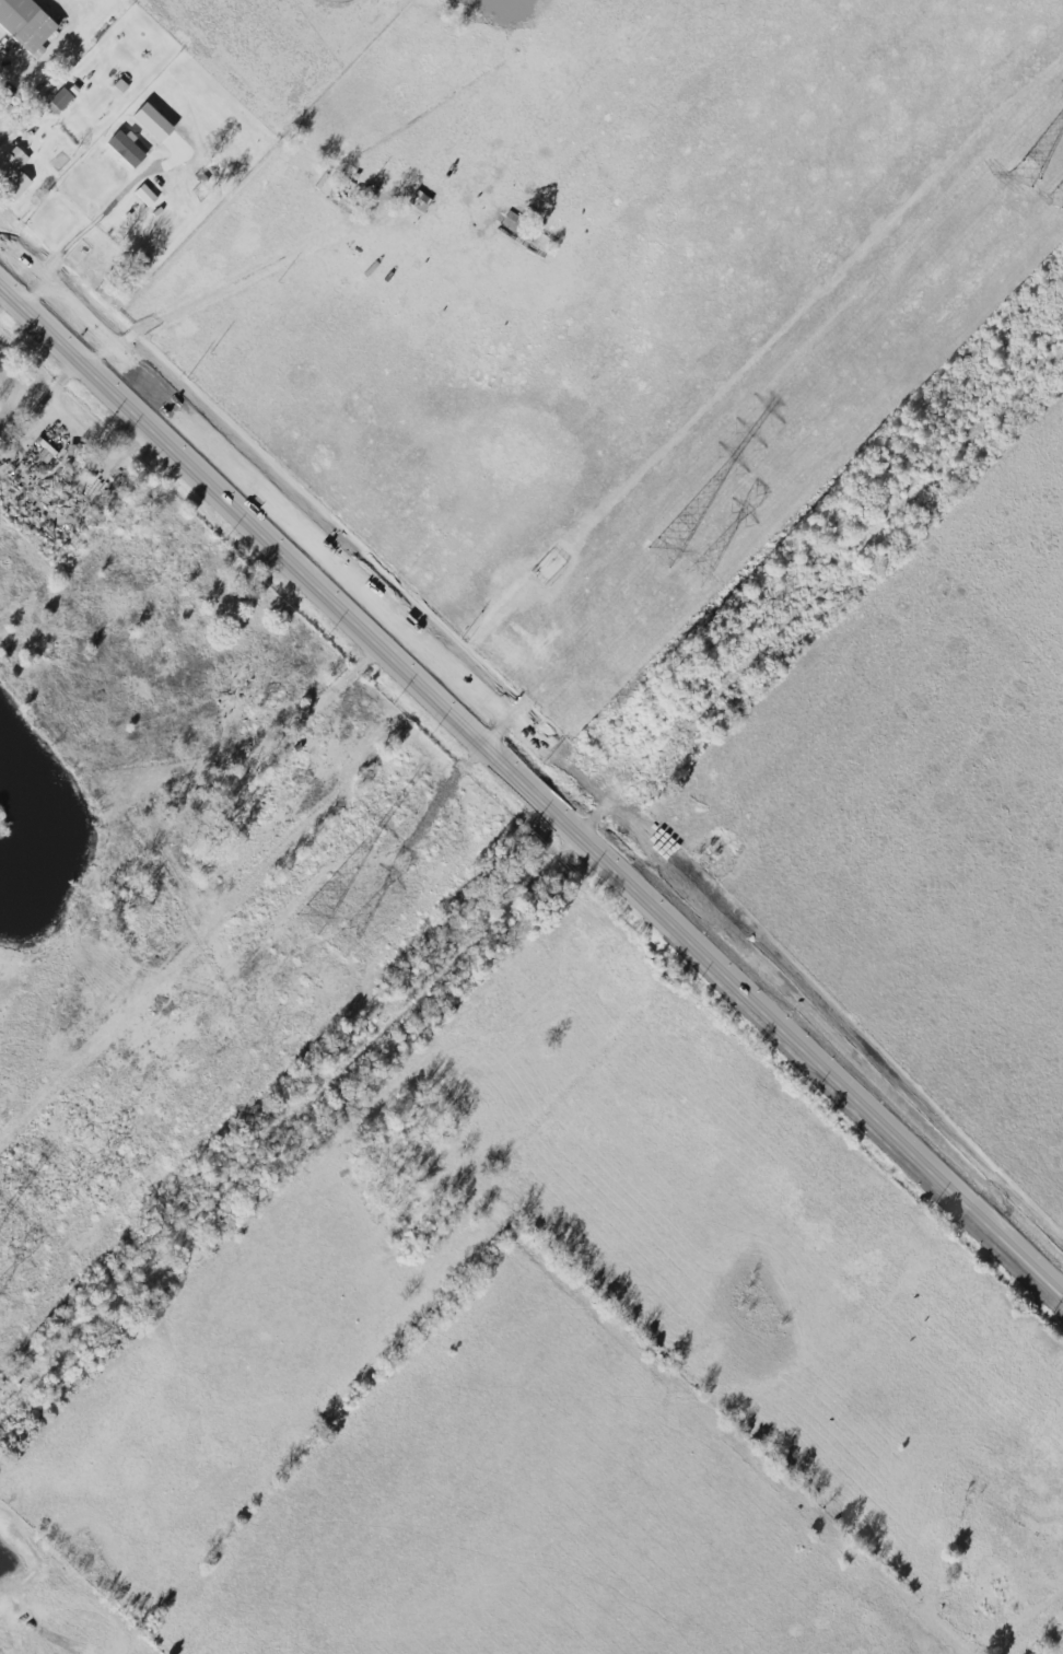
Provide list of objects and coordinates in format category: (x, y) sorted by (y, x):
building: (26, 24)
building: (59, 101)
building: (153, 123)
building: (126, 148)
building: (14, 172)
power tower: (1027, 177)
building: (145, 195)
power tower: (1059, 198)
building: (89, 258)
road: (213, 289)
power tower: (664, 556)
power tower: (697, 576)
road: (530, 784)
railway: (521, 840)
power tower: (309, 920)
power tower: (342, 943)

